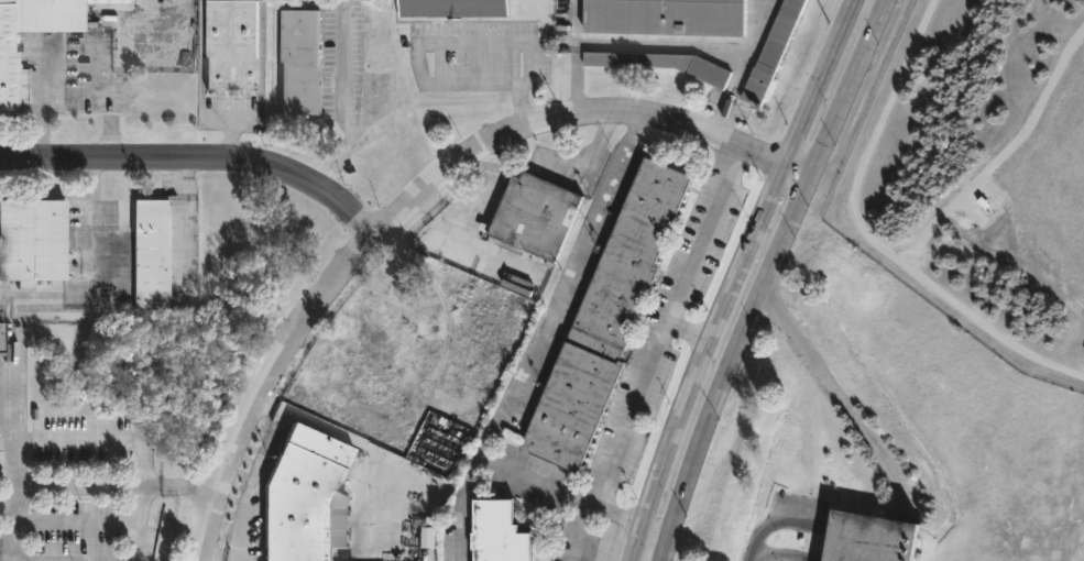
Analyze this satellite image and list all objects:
building: (452, 8)
building: (664, 15)
road: (661, 44)
building: (229, 45)
building: (9, 46)
building: (773, 52)
road: (416, 53)
road: (574, 56)
building: (296, 62)
building: (663, 64)
road: (740, 69)
road: (344, 105)
road: (199, 158)
airport: (981, 173)
road: (416, 198)
building: (536, 215)
building: (37, 240)
building: (152, 253)
road: (766, 276)
road: (735, 277)
road: (562, 289)
building: (601, 319)
road: (661, 326)
road: (688, 328)
building: (6, 338)
road: (831, 388)
road: (342, 436)
road: (37, 440)
road: (506, 471)
road: (78, 484)
road: (183, 485)
building: (305, 496)
road: (584, 505)
road: (75, 521)
road: (135, 521)
road: (655, 526)
building: (500, 532)
building: (428, 537)
road: (458, 538)
building: (869, 538)
road: (208, 560)

